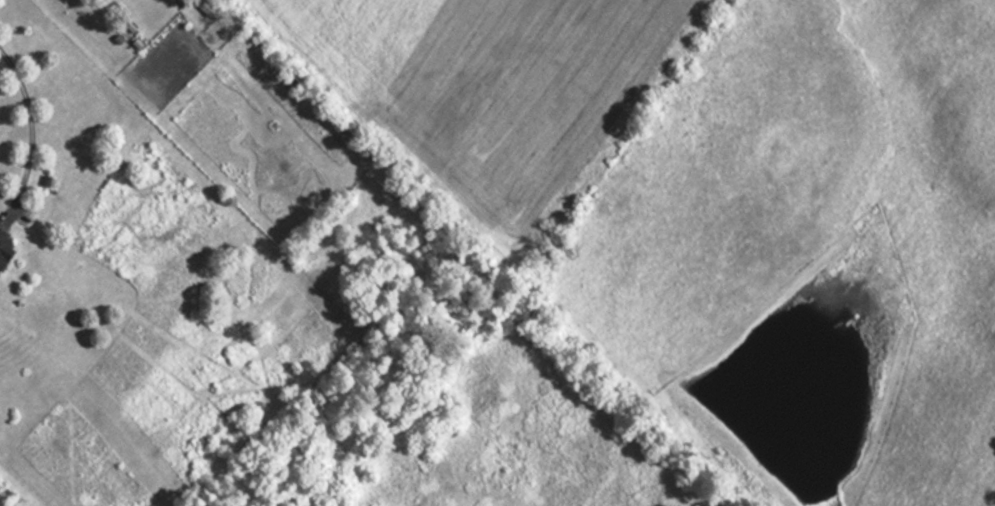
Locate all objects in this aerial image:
road: (30, 126)
building: (3, 246)

